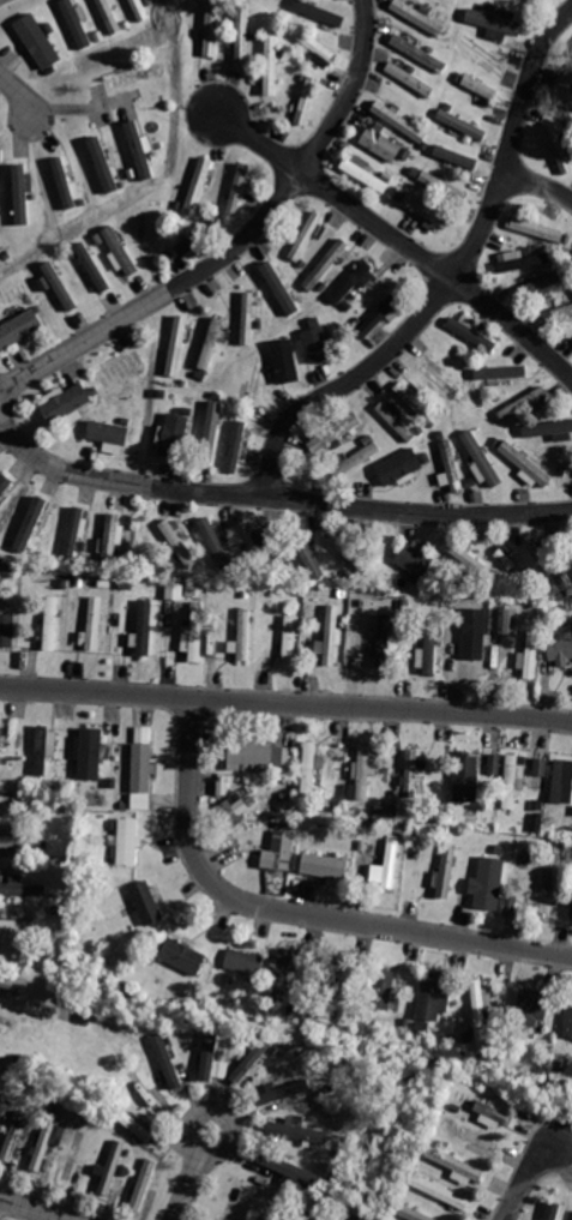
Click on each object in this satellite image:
building: (139, 11)
building: (319, 11)
building: (112, 16)
building: (419, 17)
building: (493, 19)
building: (78, 23)
building: (212, 29)
building: (243, 32)
building: (40, 43)
building: (315, 43)
building: (420, 54)
building: (271, 64)
building: (138, 73)
building: (410, 79)
building: (481, 88)
road: (19, 94)
building: (566, 95)
building: (307, 101)
road: (92, 110)
building: (398, 120)
building: (462, 125)
building: (384, 144)
building: (558, 149)
building: (140, 150)
building: (0, 152)
building: (456, 156)
building: (104, 167)
building: (365, 173)
building: (198, 184)
building: (440, 185)
building: (65, 187)
road: (540, 187)
building: (240, 188)
building: (20, 190)
building: (427, 211)
building: (150, 224)
building: (540, 229)
building: (306, 235)
road: (239, 240)
road: (401, 240)
building: (121, 251)
building: (571, 258)
building: (525, 260)
building: (327, 264)
building: (94, 268)
road: (452, 280)
building: (353, 282)
building: (540, 282)
building: (60, 284)
building: (279, 287)
building: (14, 294)
building: (561, 312)
building: (378, 315)
building: (248, 318)
building: (20, 329)
building: (472, 332)
building: (211, 343)
building: (319, 344)
building: (177, 347)
building: (284, 360)
building: (121, 369)
building: (500, 371)
building: (446, 377)
building: (523, 402)
building: (66, 403)
building: (421, 403)
building: (396, 420)
building: (183, 422)
building: (549, 428)
building: (212, 431)
building: (335, 431)
building: (110, 432)
building: (171, 434)
building: (239, 444)
building: (357, 458)
building: (481, 458)
building: (565, 459)
building: (399, 465)
building: (452, 465)
building: (526, 465)
building: (5, 483)
road: (273, 499)
building: (31, 524)
building: (74, 531)
building: (113, 539)
building: (215, 541)
building: (179, 545)
building: (266, 545)
building: (566, 545)
building: (347, 549)
building: (469, 558)
building: (546, 558)
building: (311, 559)
building: (414, 561)
building: (511, 561)
building: (174, 589)
building: (506, 620)
building: (52, 621)
building: (94, 623)
building: (7, 629)
building: (145, 629)
building: (331, 632)
building: (194, 633)
building: (245, 633)
building: (290, 636)
building: (383, 639)
building: (430, 642)
building: (560, 645)
building: (369, 647)
building: (472, 650)
building: (532, 653)
road: (285, 703)
building: (1, 743)
building: (42, 750)
building: (92, 752)
building: (260, 757)
building: (493, 763)
building: (540, 765)
building: (309, 769)
building: (142, 773)
building: (363, 773)
building: (413, 773)
building: (468, 775)
building: (562, 779)
building: (508, 781)
building: (233, 807)
building: (253, 810)
building: (535, 821)
building: (128, 841)
building: (20, 842)
building: (279, 849)
building: (390, 861)
building: (326, 865)
building: (447, 869)
building: (496, 884)
building: (25, 887)
building: (538, 888)
building: (146, 902)
building: (571, 907)
road: (296, 913)
building: (18, 931)
building: (182, 954)
building: (245, 960)
building: (283, 970)
building: (16, 982)
building: (329, 987)
building: (383, 987)
building: (433, 997)
building: (478, 1010)
building: (530, 1011)
building: (568, 1018)
building: (8, 1021)
building: (209, 1047)
building: (8, 1053)
building: (168, 1058)
building: (253, 1060)
building: (219, 1068)
building: (0, 1069)
building: (285, 1093)
building: (494, 1110)
building: (138, 1128)
building: (295, 1129)
building: (14, 1135)
building: (480, 1141)
building: (44, 1143)
building: (457, 1162)
building: (112, 1167)
building: (289, 1170)
road: (192, 1173)
road: (528, 1179)
building: (143, 1183)
building: (439, 1190)
building: (236, 1206)
road: (37, 1207)
building: (554, 1210)
building: (306, 1215)
building: (266, 1216)

